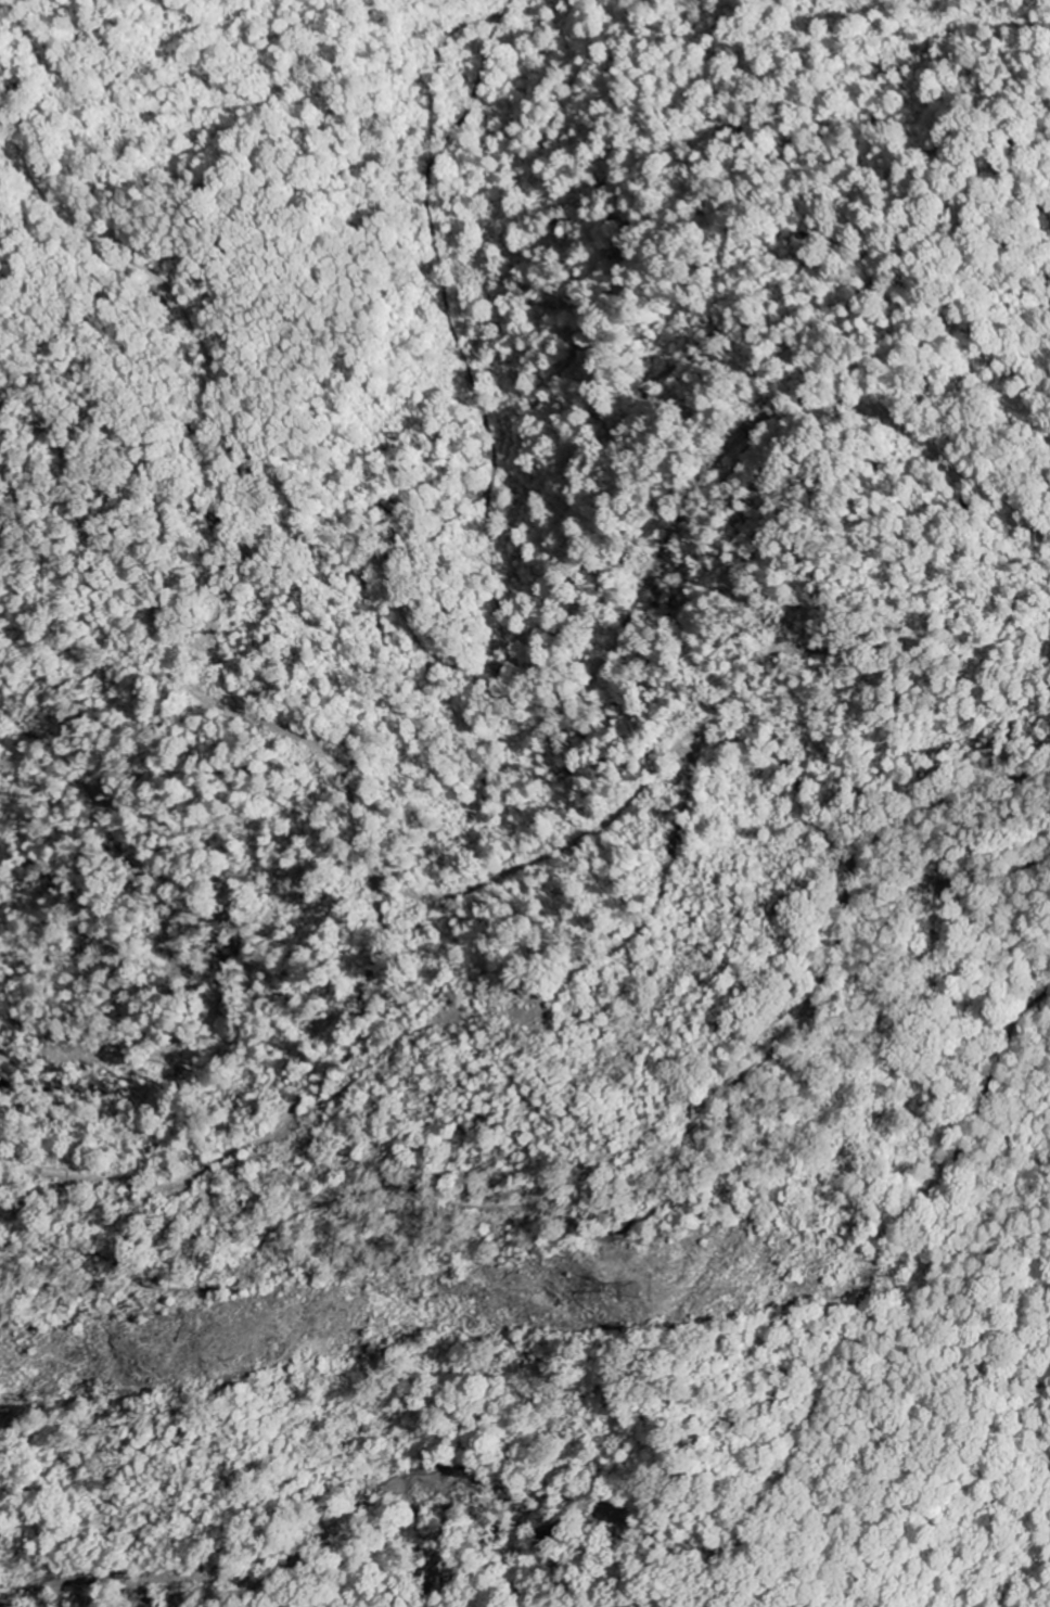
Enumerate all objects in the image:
power tower: (629, 1314)

